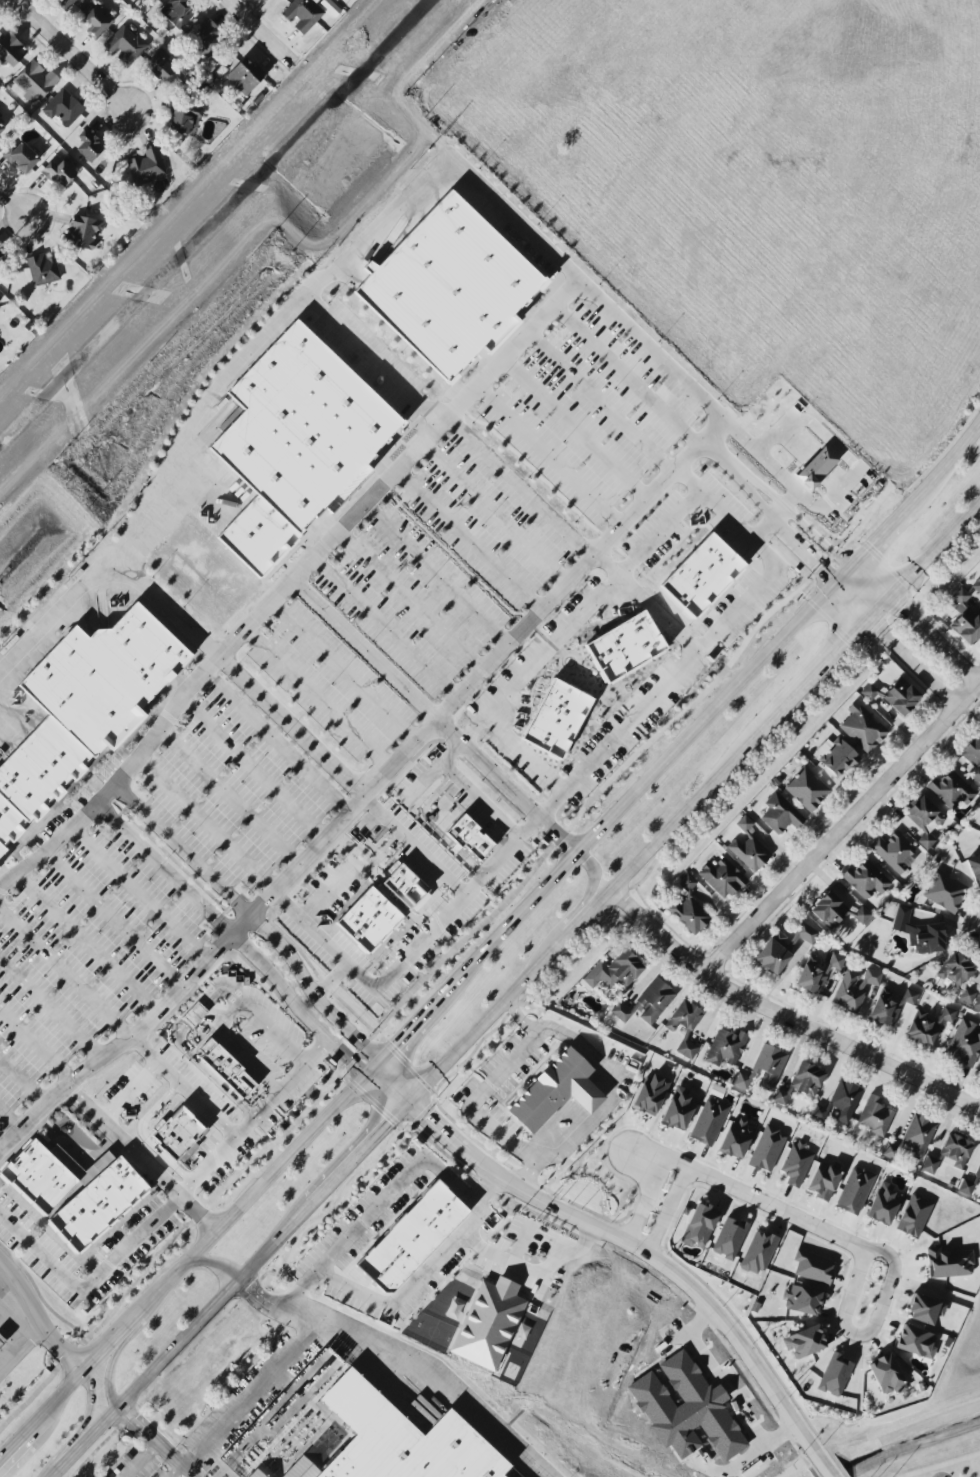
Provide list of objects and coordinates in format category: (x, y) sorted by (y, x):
building: (147, 0)
building: (67, 3)
building: (177, 12)
building: (303, 14)
building: (98, 20)
road: (258, 28)
building: (207, 38)
building: (126, 45)
building: (11, 50)
road: (72, 55)
building: (160, 69)
building: (245, 76)
building: (36, 80)
building: (63, 108)
building: (184, 119)
building: (1, 128)
building: (89, 146)
building: (21, 157)
building: (146, 166)
building: (59, 173)
road: (18, 203)
building: (84, 232)
building: (0, 243)
building: (0, 255)
building: (43, 270)
building: (450, 288)
road: (594, 292)
road: (262, 327)
road: (369, 358)
road: (630, 375)
road: (601, 404)
road: (575, 430)
building: (296, 444)
road: (552, 454)
road: (715, 455)
road: (404, 464)
road: (714, 502)
road: (790, 513)
road: (495, 514)
road: (660, 531)
road: (470, 540)
building: (703, 575)
road: (433, 578)
road: (766, 578)
building: (976, 585)
road: (412, 600)
road: (164, 607)
road: (918, 616)
building: (965, 619)
road: (384, 629)
road: (895, 643)
road: (367, 646)
building: (627, 648)
road: (541, 655)
road: (346, 670)
parking lot: (521, 687)
building: (869, 691)
building: (901, 696)
building: (77, 705)
building: (558, 720)
road: (294, 728)
building: (863, 728)
parking lot: (263, 739)
road: (279, 745)
road: (526, 752)
building: (838, 758)
building: (973, 758)
road: (257, 770)
road: (118, 781)
road: (512, 784)
building: (807, 789)
building: (951, 790)
road: (471, 791)
road: (234, 796)
building: (781, 814)
building: (925, 820)
road: (537, 821)
road: (210, 823)
road: (842, 826)
building: (480, 841)
road: (419, 847)
building: (749, 847)
building: (894, 851)
building: (975, 868)
building: (722, 877)
building: (866, 879)
building: (405, 886)
building: (944, 891)
parking lot: (328, 892)
road: (143, 893)
road: (574, 915)
building: (862, 915)
road: (116, 916)
building: (370, 920)
road: (245, 924)
building: (920, 932)
road: (88, 941)
road: (491, 947)
building: (782, 948)
road: (215, 954)
building: (955, 970)
road: (65, 971)
building: (615, 971)
building: (817, 973)
building: (855, 987)
road: (221, 988)
road: (315, 990)
road: (519, 991)
building: (887, 993)
building: (966, 994)
building: (910, 997)
building: (647, 1002)
building: (977, 1002)
road: (301, 1006)
road: (51, 1007)
building: (884, 1011)
road: (192, 1014)
building: (948, 1014)
building: (194, 1015)
building: (684, 1016)
road: (229, 1017)
road: (522, 1018)
road: (785, 1018)
building: (924, 1028)
road: (789, 1032)
road: (564, 1034)
road: (37, 1042)
building: (964, 1043)
building: (726, 1047)
building: (687, 1049)
road: (858, 1068)
building: (764, 1069)
building: (979, 1072)
building: (222, 1075)
road: (24, 1077)
road: (205, 1077)
road: (835, 1078)
road: (74, 1079)
road: (289, 1080)
road: (884, 1081)
building: (802, 1083)
road: (182, 1087)
building: (556, 1091)
building: (716, 1091)
road: (128, 1093)
building: (651, 1095)
building: (846, 1099)
parking lot: (288, 1101)
road: (929, 1102)
building: (679, 1109)
building: (818, 1113)
road: (907, 1113)
road: (11, 1115)
building: (876, 1116)
building: (709, 1121)
road: (969, 1122)
road: (947, 1128)
building: (920, 1136)
building: (736, 1139)
building: (174, 1140)
building: (768, 1148)
building: (824, 1150)
building: (893, 1151)
building: (951, 1155)
road: (144, 1162)
building: (797, 1163)
road: (974, 1168)
building: (978, 1168)
building: (978, 1174)
building: (824, 1181)
road: (455, 1185)
building: (968, 1187)
road: (488, 1190)
building: (855, 1190)
building: (67, 1196)
road: (752, 1198)
road: (645, 1200)
building: (884, 1204)
road: (667, 1211)
building: (914, 1215)
building: (699, 1226)
building: (730, 1238)
building: (420, 1241)
road: (630, 1243)
road: (519, 1245)
road: (129, 1249)
building: (758, 1252)
parking lot: (95, 1261)
building: (950, 1263)
road: (222, 1265)
road: (547, 1266)
building: (813, 1267)
road: (2, 1278)
building: (803, 1300)
building: (925, 1309)
building: (489, 1323)
road: (38, 1324)
road: (16, 1325)
road: (874, 1327)
park: (433, 1331)
building: (2, 1340)
gas station: (2, 1340)
building: (805, 1342)
building: (916, 1342)
road: (20, 1351)
road: (405, 1359)
building: (835, 1375)
building: (887, 1375)
road: (103, 1392)
road: (251, 1394)
building: (401, 1439)
road: (159, 1442)
road: (142, 1459)
parking lot: (139, 1465)
road: (798, 1465)
road: (942, 1465)
park: (947, 1466)
road: (971, 1467)
building: (256, 1474)

